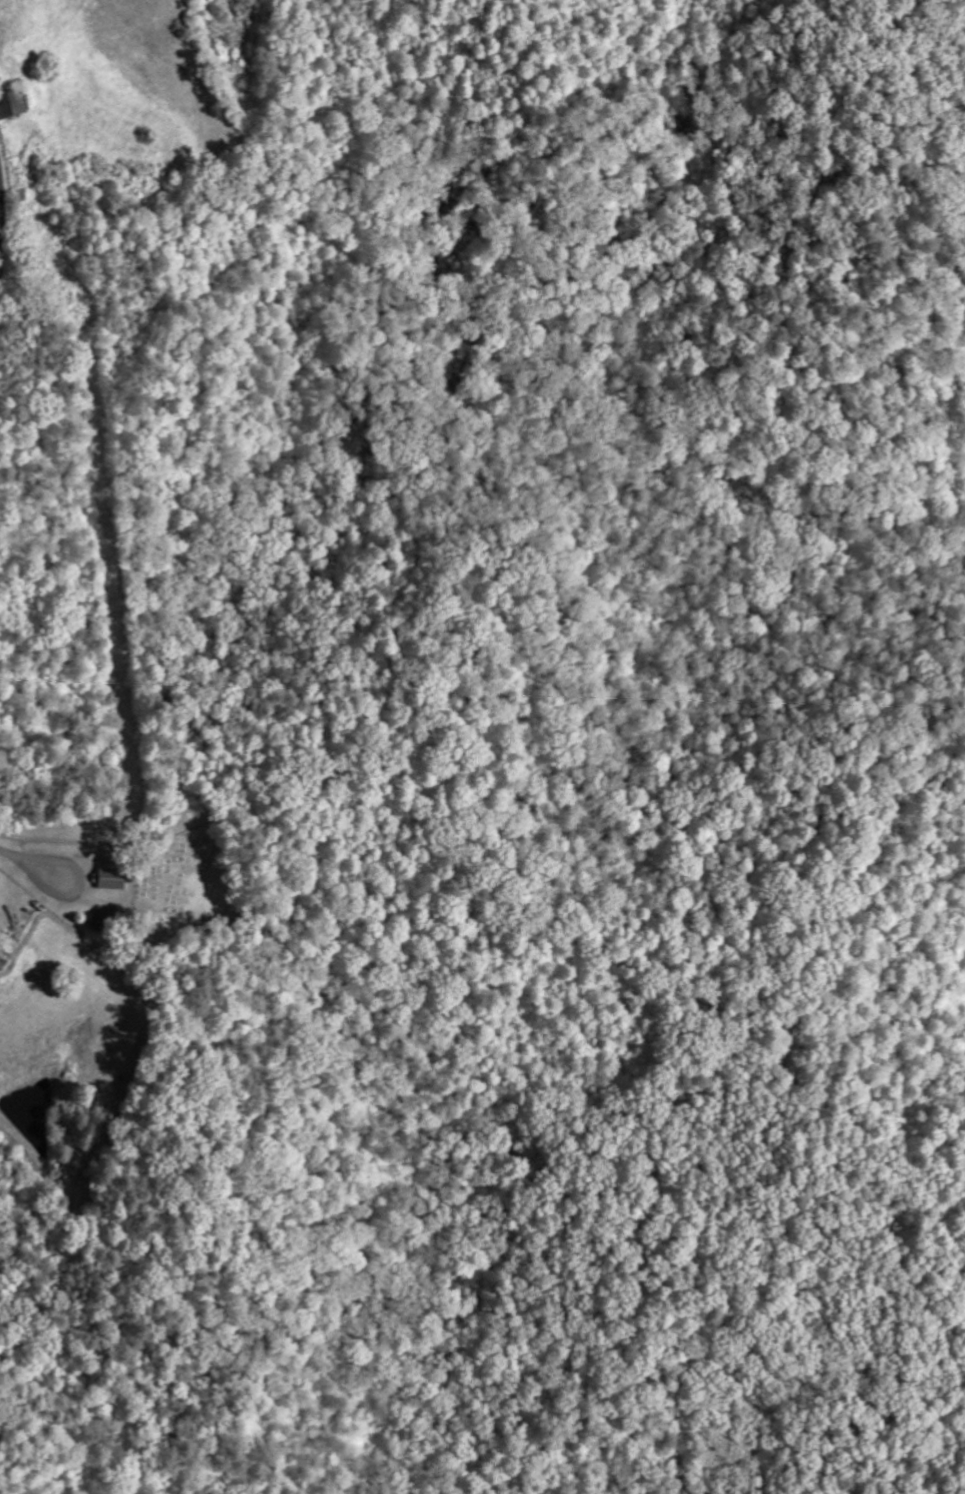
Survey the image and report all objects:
road: (3, 235)
road: (1, 853)
building: (109, 878)
park: (185, 885)
road: (81, 898)

